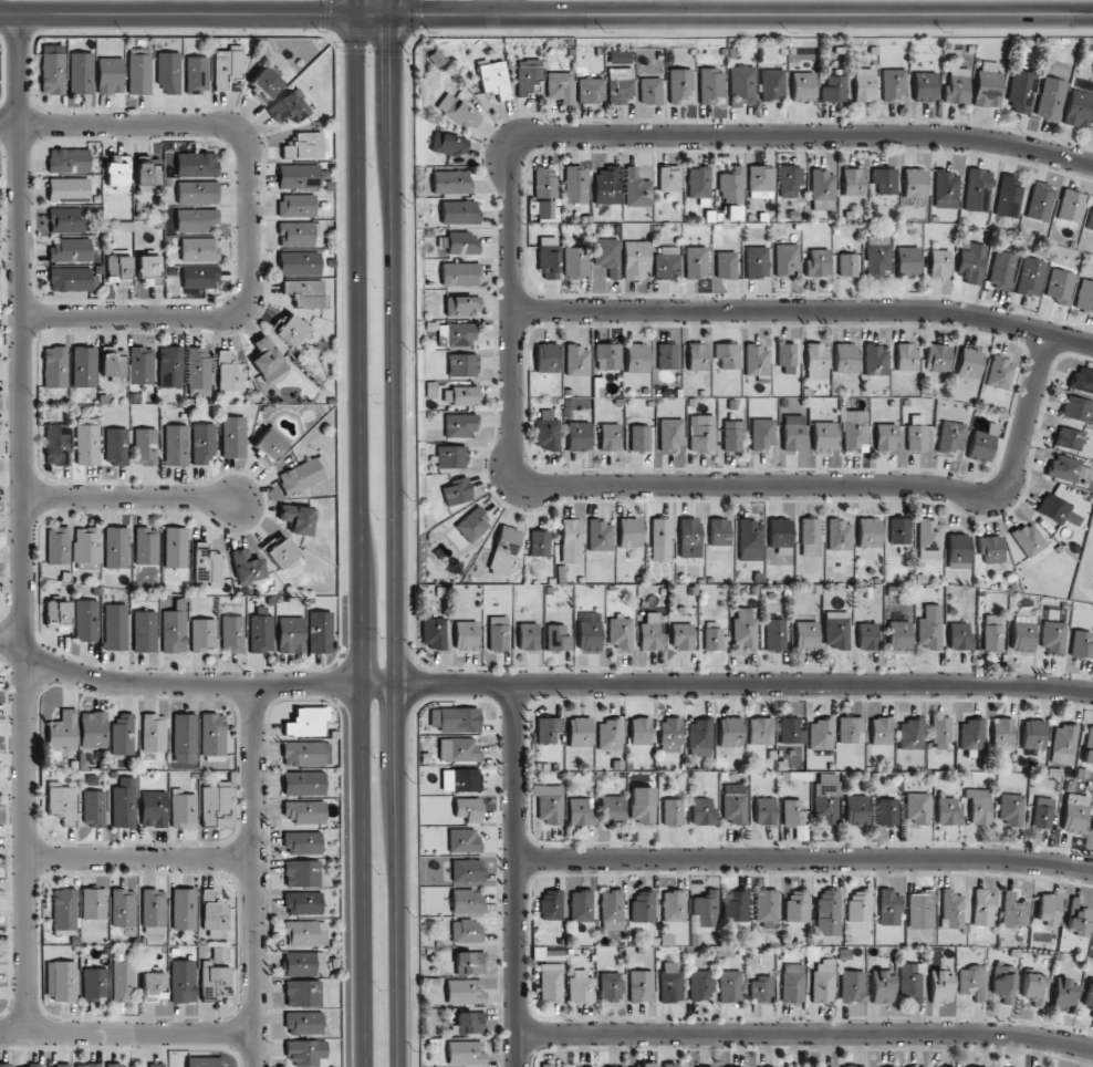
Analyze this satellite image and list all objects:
road: (500, 8)
road: (678, 8)
traffic signals: (350, 17)
traffic signals: (394, 17)
road: (546, 17)
building: (226, 66)
building: (52, 70)
building: (139, 71)
building: (168, 72)
building: (81, 73)
building: (196, 74)
building: (528, 74)
building: (111, 75)
building: (495, 80)
building: (266, 82)
building: (864, 84)
building: (620, 85)
building: (679, 85)
building: (741, 85)
building: (893, 85)
building: (988, 85)
building: (560, 86)
building: (711, 86)
building: (772, 86)
building: (803, 86)
building: (925, 86)
building: (957, 86)
building: (589, 89)
building: (834, 90)
building: (650, 91)
building: (1020, 91)
building: (1050, 99)
building: (289, 107)
building: (1079, 108)
building: (459, 112)
road: (117, 126)
road: (799, 139)
building: (449, 144)
building: (303, 146)
building: (69, 160)
building: (197, 164)
building: (117, 172)
building: (298, 176)
building: (148, 177)
building: (789, 180)
building: (885, 180)
building: (451, 182)
building: (761, 182)
building: (853, 182)
building: (545, 183)
building: (698, 183)
building: (915, 183)
building: (575, 184)
building: (668, 184)
building: (607, 185)
building: (822, 185)
building: (731, 186)
building: (636, 189)
building: (946, 189)
building: (69, 190)
building: (978, 190)
building: (197, 193)
building: (1009, 196)
building: (1040, 201)
building: (296, 205)
building: (1071, 206)
building: (548, 210)
building: (459, 213)
building: (732, 213)
building: (1090, 218)
building: (66, 219)
building: (196, 219)
building: (296, 234)
building: (462, 242)
building: (199, 249)
building: (70, 250)
building: (607, 256)
building: (878, 256)
building: (548, 258)
building: (636, 259)
building: (787, 259)
building: (908, 261)
building: (575, 262)
building: (696, 262)
building: (757, 262)
building: (818, 262)
building: (299, 263)
building: (939, 263)
building: (972, 263)
building: (665, 265)
building: (726, 265)
building: (847, 265)
building: (117, 267)
building: (1002, 270)
building: (150, 271)
building: (460, 273)
building: (200, 277)
building: (1031, 277)
building: (72, 279)
building: (1060, 286)
building: (305, 293)
building: (1084, 296)
building: (462, 305)
road: (804, 310)
road: (221, 315)
road: (511, 315)
building: (291, 330)
building: (456, 334)
building: (728, 355)
building: (607, 356)
building: (667, 356)
building: (697, 356)
building: (906, 356)
building: (546, 358)
building: (637, 358)
building: (787, 358)
building: (845, 358)
building: (268, 359)
building: (876, 360)
building: (576, 361)
building: (757, 361)
building: (816, 361)
building: (113, 362)
building: (969, 363)
building: (140, 365)
building: (462, 365)
building: (55, 366)
building: (84, 366)
building: (169, 366)
building: (198, 372)
building: (229, 372)
building: (1082, 381)
building: (460, 395)
building: (1076, 408)
building: (459, 425)
building: (855, 429)
building: (548, 431)
building: (793, 432)
building: (701, 433)
building: (763, 433)
building: (916, 433)
building: (670, 435)
building: (732, 435)
building: (579, 436)
building: (824, 436)
building: (233, 437)
building: (610, 437)
building: (885, 437)
building: (950, 437)
building: (639, 438)
building: (1069, 438)
building: (87, 441)
building: (58, 444)
building: (204, 444)
building: (176, 445)
building: (270, 445)
building: (116, 446)
building: (980, 446)
building: (146, 447)
building: (451, 456)
building: (1069, 468)
building: (303, 475)
road: (842, 485)
building: (457, 491)
road: (131, 497)
building: (1056, 510)
building: (298, 519)
road: (22, 522)
building: (472, 525)
building: (899, 530)
road: (355, 532)
road: (400, 532)
building: (629, 532)
building: (868, 532)
building: (839, 535)
building: (600, 536)
building: (689, 537)
building: (810, 537)
building: (660, 539)
building: (929, 539)
building: (1029, 539)
building: (750, 540)
building: (571, 541)
building: (780, 541)
building: (540, 543)
building: (58, 546)
building: (146, 546)
building: (116, 547)
building: (176, 547)
building: (86, 548)
building: (991, 549)
building: (504, 550)
building: (959, 551)
building: (281, 553)
building: (207, 563)
building: (247, 567)
building: (58, 615)
building: (86, 620)
building: (115, 626)
building: (929, 626)
building: (174, 629)
building: (745, 629)
building: (836, 630)
building: (145, 631)
building: (261, 631)
building: (320, 632)
building: (433, 632)
building: (589, 632)
building: (620, 632)
building: (650, 632)
building: (992, 632)
building: (498, 633)
building: (204, 634)
building: (232, 634)
building: (291, 634)
building: (774, 634)
building: (466, 635)
building: (712, 635)
building: (805, 635)
building: (899, 635)
building: (1023, 635)
building: (528, 636)
building: (681, 636)
building: (867, 636)
building: (959, 636)
building: (1052, 636)
building: (558, 638)
building: (1082, 644)
road: (198, 684)
road: (748, 684)
building: (456, 719)
building: (306, 722)
building: (93, 729)
building: (548, 729)
building: (850, 729)
building: (63, 731)
building: (639, 731)
building: (760, 731)
building: (791, 731)
building: (881, 731)
building: (940, 731)
building: (580, 732)
building: (730, 732)
building: (154, 733)
building: (184, 734)
building: (608, 734)
building: (821, 734)
building: (910, 734)
building: (971, 734)
building: (1002, 734)
building: (1033, 734)
building: (123, 735)
building: (212, 735)
building: (669, 735)
building: (700, 737)
building: (1063, 744)
building: (1089, 746)
building: (458, 749)
building: (303, 754)
building: (461, 780)
building: (303, 784)
building: (826, 798)
building: (62, 801)
building: (214, 801)
building: (124, 802)
building: (549, 804)
building: (979, 806)
building: (642, 807)
building: (917, 807)
building: (93, 808)
building: (184, 808)
building: (733, 808)
building: (1010, 808)
building: (154, 809)
building: (468, 809)
building: (612, 809)
building: (856, 809)
building: (764, 810)
building: (304, 811)
building: (580, 811)
building: (702, 811)
building: (947, 811)
building: (673, 812)
building: (887, 812)
building: (1042, 812)
building: (1074, 814)
building: (795, 818)
building: (1092, 827)
building: (464, 840)
building: (303, 842)
road: (134, 858)
road: (805, 861)
building: (467, 871)
building: (302, 873)
road: (247, 876)
road: (519, 876)
building: (467, 901)
building: (94, 903)
building: (303, 903)
building: (551, 904)
building: (736, 904)
building: (581, 905)
building: (643, 905)
building: (674, 905)
building: (766, 905)
building: (798, 905)
building: (858, 905)
building: (123, 908)
building: (889, 908)
building: (982, 908)
building: (184, 909)
building: (612, 909)
building: (706, 909)
building: (953, 909)
building: (920, 910)
building: (1047, 910)
building: (64, 911)
building: (1013, 911)
building: (154, 912)
building: (827, 912)
building: (214, 915)
building: (1079, 916)
building: (466, 931)
building: (303, 932)
building: (548, 954)
building: (470, 962)
building: (304, 963)
building: (123, 977)
building: (64, 981)
building: (183, 981)
building: (215, 981)
building: (972, 981)
building: (551, 982)
building: (823, 983)
building: (912, 983)
building: (1003, 983)
building: (94, 984)
building: (154, 985)
building: (700, 985)
building: (581, 986)
building: (611, 986)
building: (642, 986)
building: (670, 986)
building: (730, 986)
building: (793, 986)
building: (852, 986)
building: (940, 986)
building: (882, 987)
building: (1033, 988)
building: (761, 990)
building: (464, 991)
building: (302, 993)
building: (1063, 995)
building: (1089, 997)
building: (303, 1023)
building: (470, 1023)
road: (124, 1030)
road: (806, 1036)
building: (305, 1053)
building: (466, 1054)
building: (205, 1061)
building: (4, 1065)
building: (33, 1065)
building: (60, 1065)
building: (87, 1065)
building: (116, 1065)
building: (156, 1065)
building: (546, 1065)
building: (642, 1066)
building: (674, 1066)
building: (743, 1066)
building: (843, 1066)

